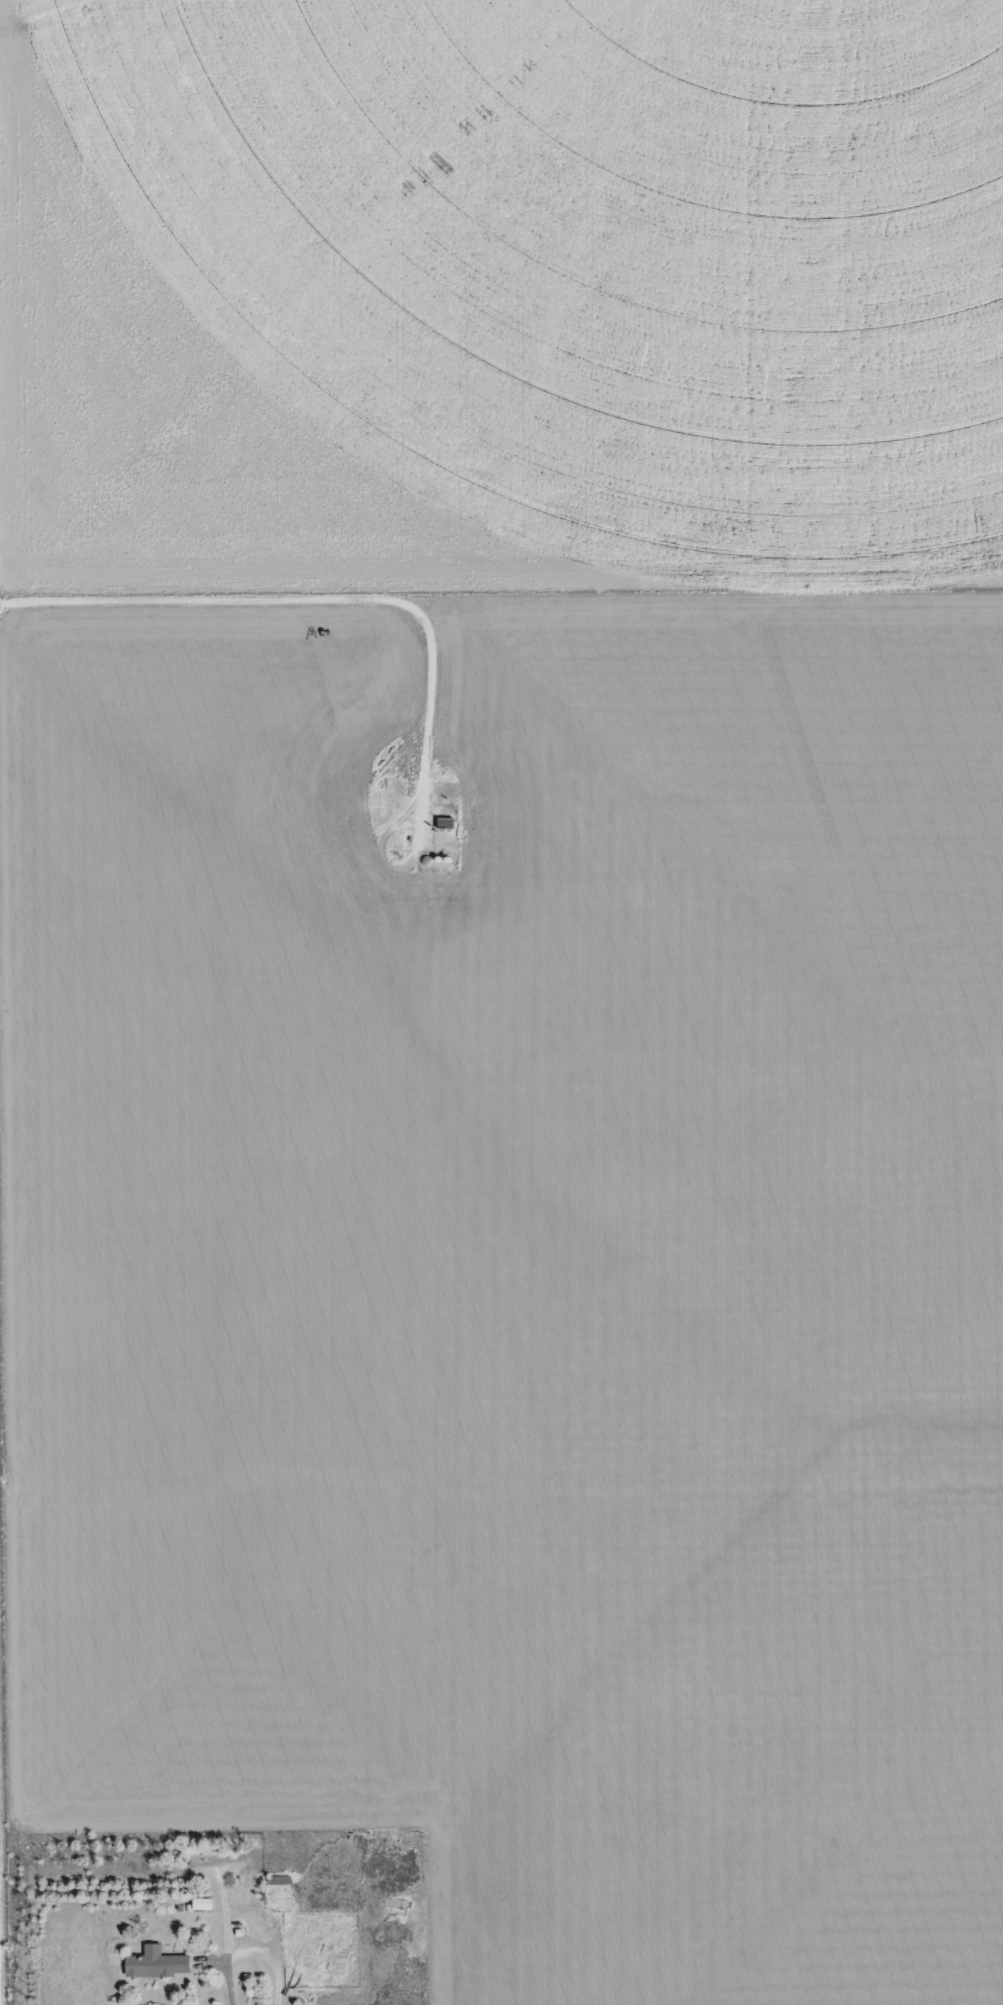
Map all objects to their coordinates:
road: (501, 596)

